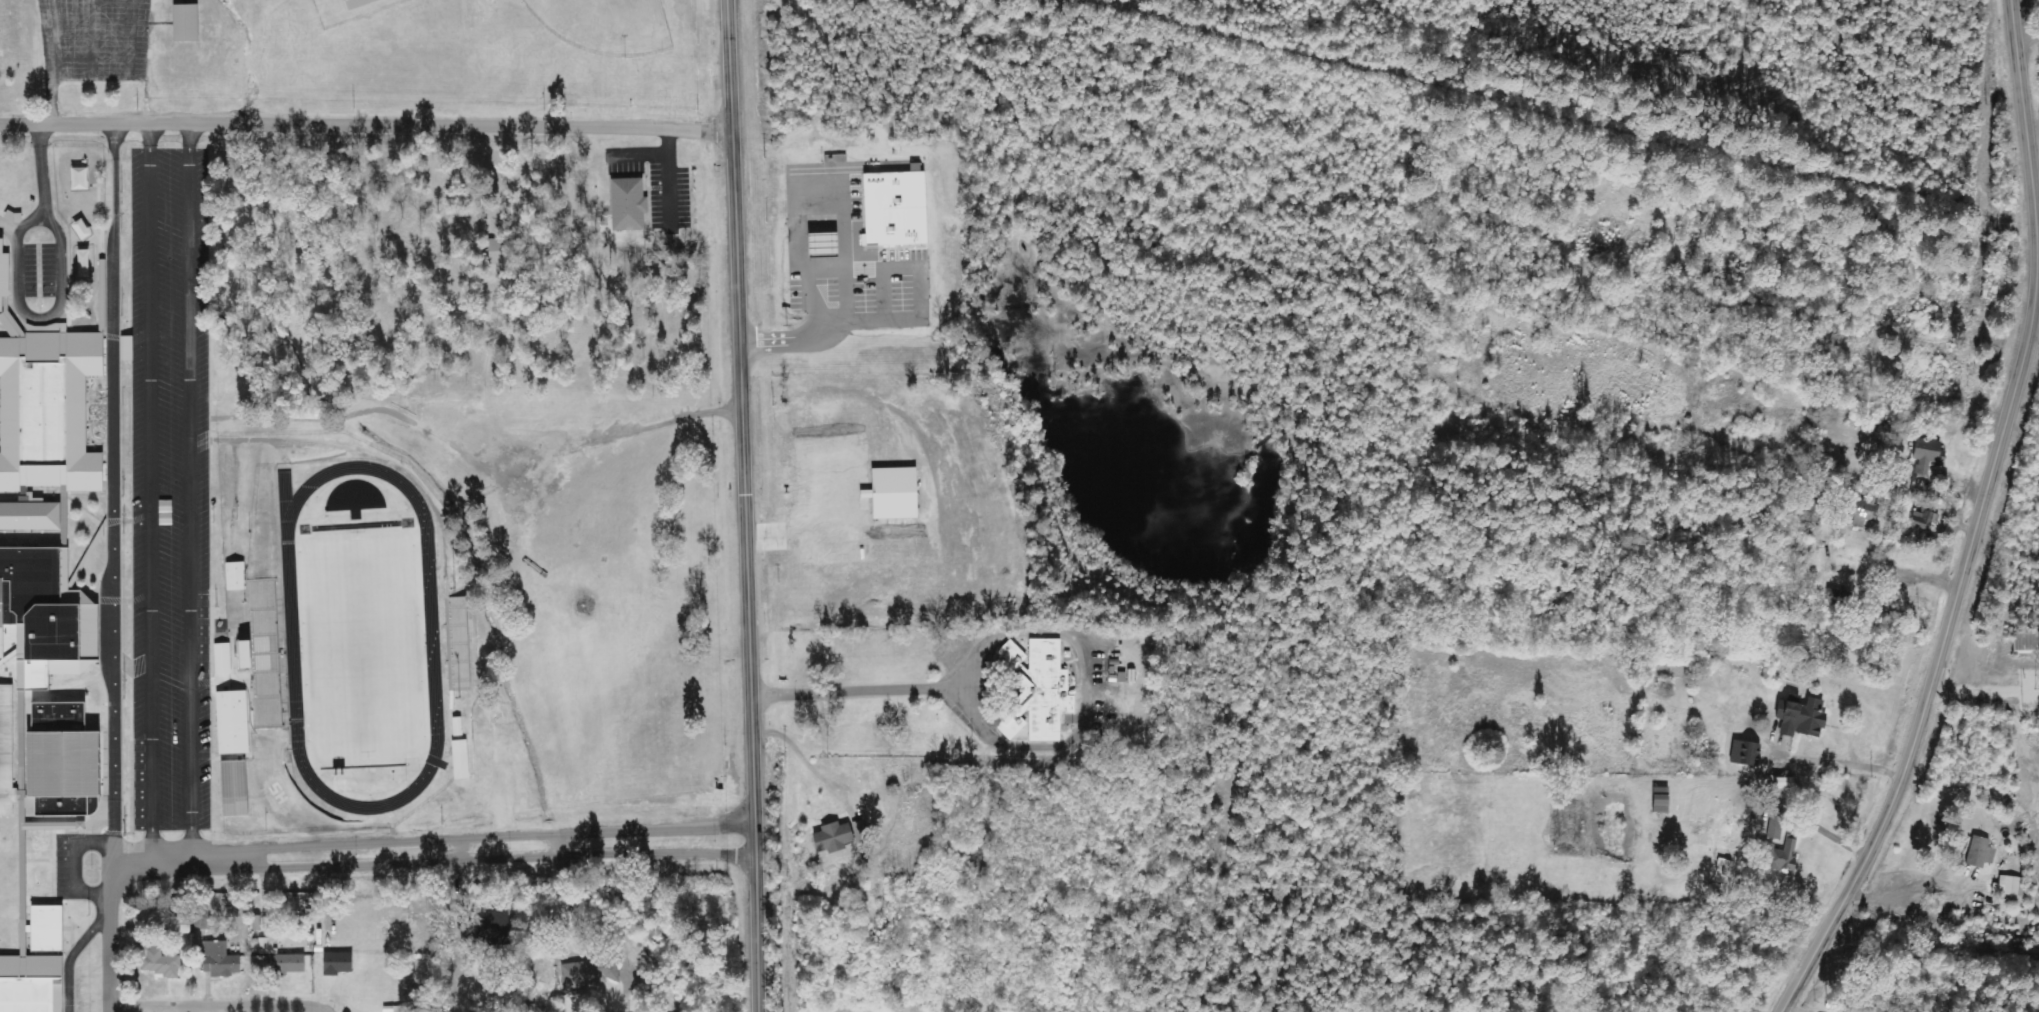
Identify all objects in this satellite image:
building: (357, 3)
building: (184, 22)
park: (605, 25)
road: (53, 37)
road: (92, 38)
parking lot: (92, 39)
park: (362, 59)
road: (728, 66)
road: (127, 75)
road: (50, 99)
road: (365, 125)
building: (82, 178)
building: (630, 204)
building: (899, 208)
road: (8, 228)
building: (84, 229)
building: (827, 244)
building: (496, 251)
road: (1976, 260)
building: (86, 262)
road: (869, 270)
building: (2, 272)
road: (16, 281)
building: (1983, 290)
building: (129, 348)
road: (2016, 373)
building: (48, 409)
building: (1923, 454)
parking lot: (168, 487)
road: (148, 492)
road: (188, 492)
road: (113, 493)
building: (897, 493)
building: (1859, 512)
building: (30, 514)
building: (1921, 518)
road: (745, 572)
building: (237, 576)
building: (1836, 598)
building: (46, 611)
track: (289, 635)
park: (360, 645)
building: (266, 650)
building: (249, 655)
building: (224, 659)
building: (1041, 691)
road: (861, 692)
building: (1798, 716)
building: (234, 723)
building: (459, 728)
building: (7, 748)
building: (1742, 753)
building: (67, 760)
building: (462, 760)
road: (1842, 763)
building: (1777, 783)
building: (236, 789)
building: (1656, 799)
building: (861, 833)
building: (836, 838)
road: (431, 849)
building: (1976, 852)
building: (1773, 856)
road: (74, 868)
road: (1854, 877)
building: (2008, 886)
building: (182, 926)
building: (47, 927)
road: (109, 937)
road: (71, 954)
building: (282, 959)
building: (222, 961)
building: (160, 962)
building: (340, 964)
building: (592, 973)
building: (32, 983)
road: (217, 1005)

